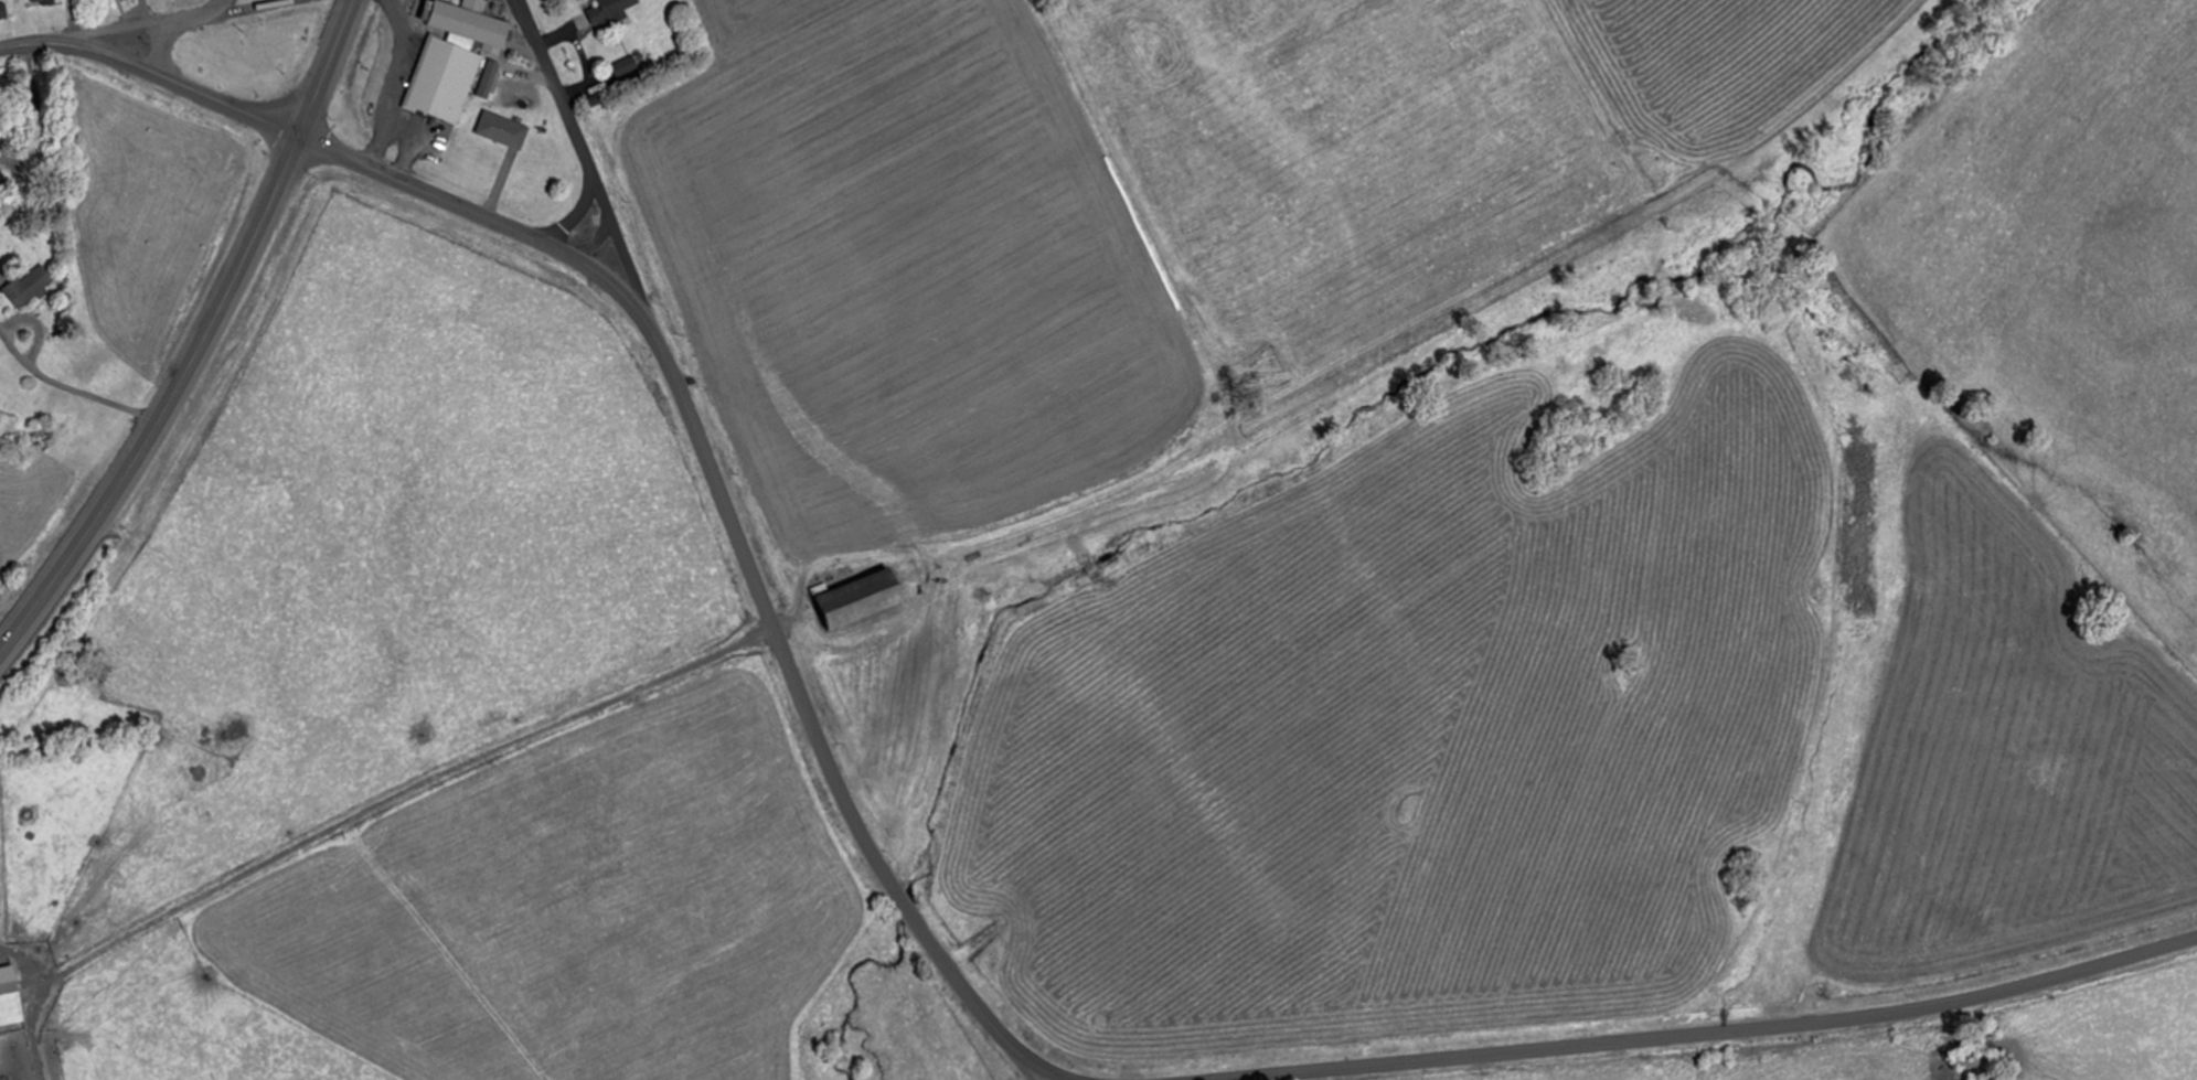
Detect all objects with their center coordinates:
building: (43, 1)
road: (243, 6)
building: (3, 10)
building: (610, 10)
building: (469, 21)
road: (114, 24)
road: (168, 47)
road: (85, 49)
building: (626, 65)
road: (328, 66)
building: (447, 78)
road: (233, 105)
building: (504, 129)
traffic signals: (300, 133)
road: (595, 181)
road: (578, 212)
road: (598, 240)
building: (29, 287)
road: (73, 384)
road: (168, 403)
road: (735, 527)
building: (860, 598)
building: (11, 1004)
road: (1708, 1031)
road: (1041, 1071)
road: (1054, 1072)

